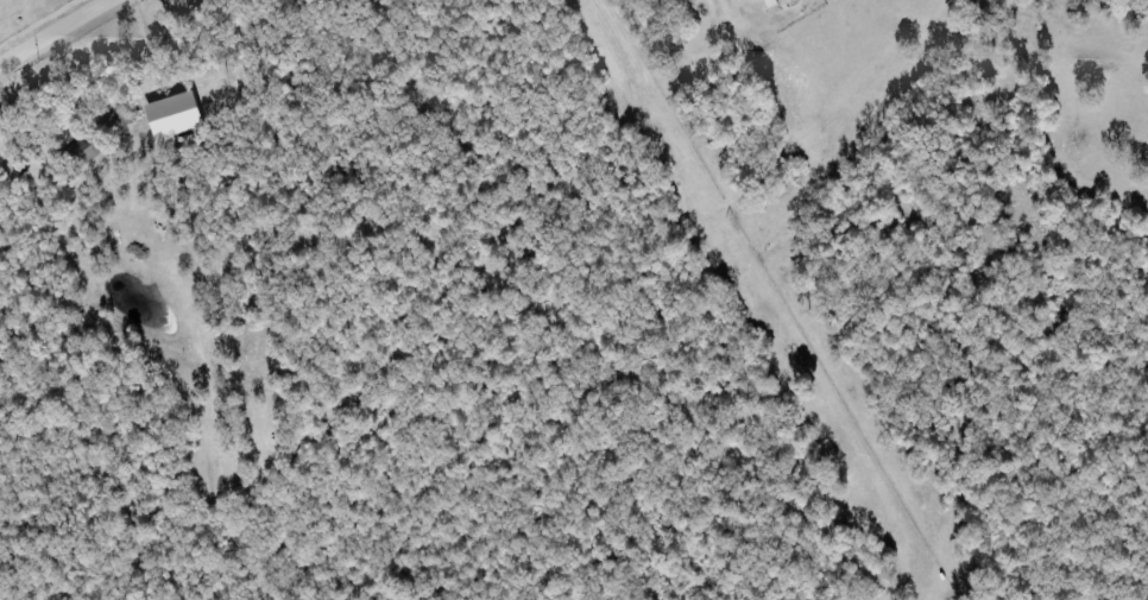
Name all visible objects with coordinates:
road: (58, 34)
building: (84, 154)

